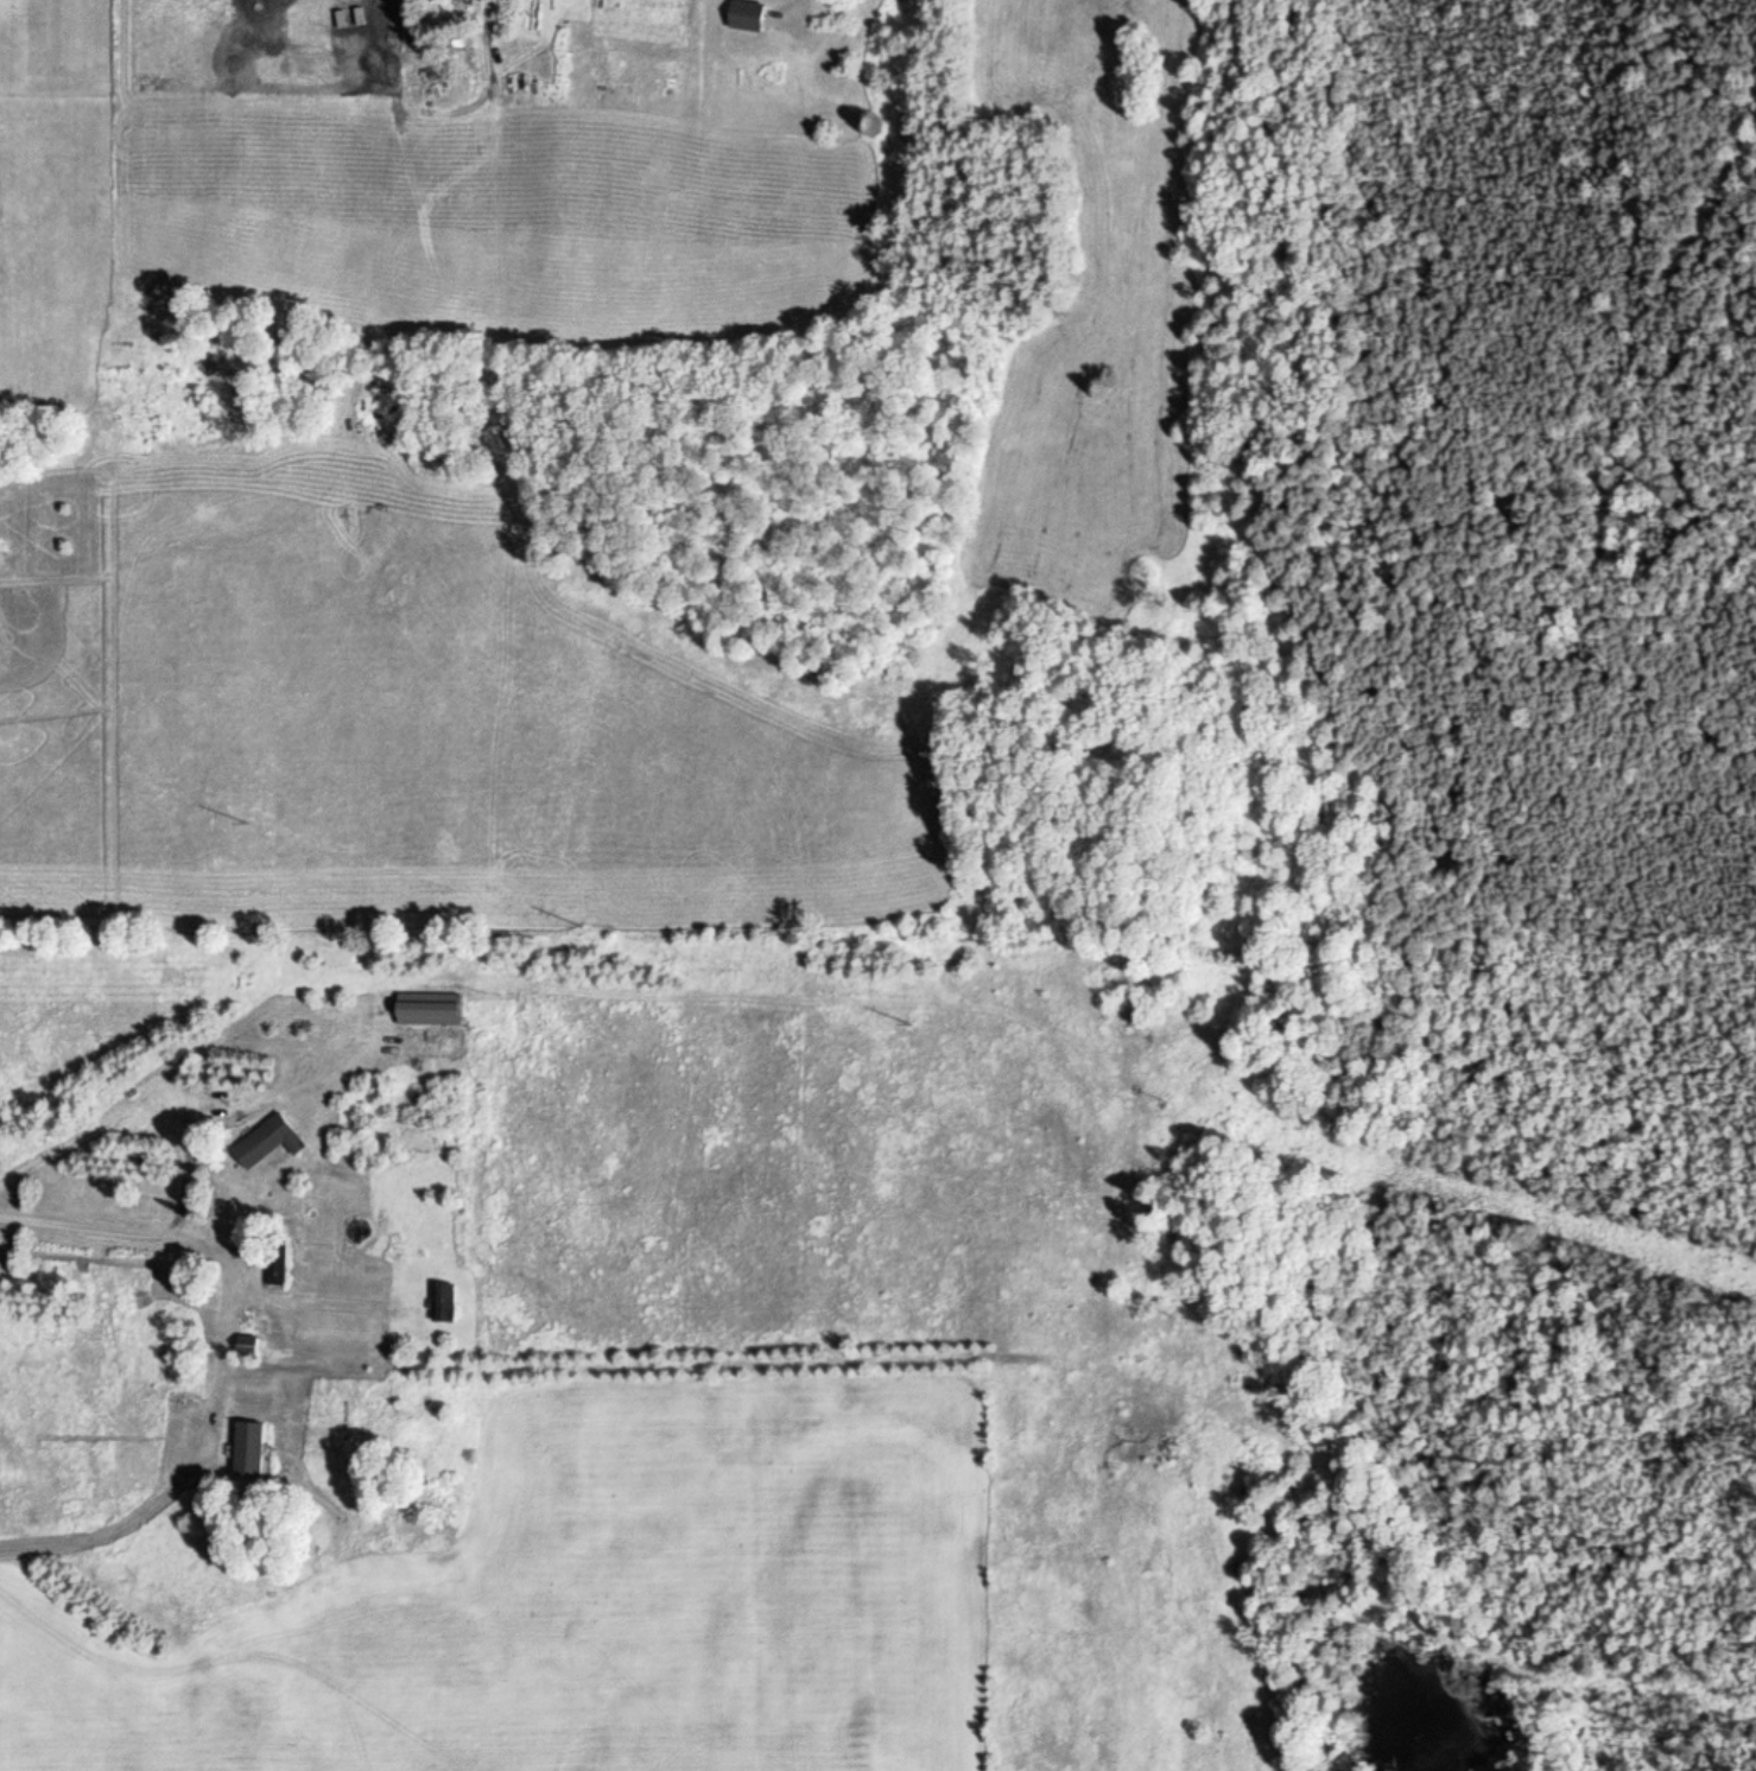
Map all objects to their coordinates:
road: (799, 13)
building: (742, 17)
building: (424, 1011)
building: (266, 1143)
road: (202, 1223)
building: (439, 1305)
building: (245, 1452)

